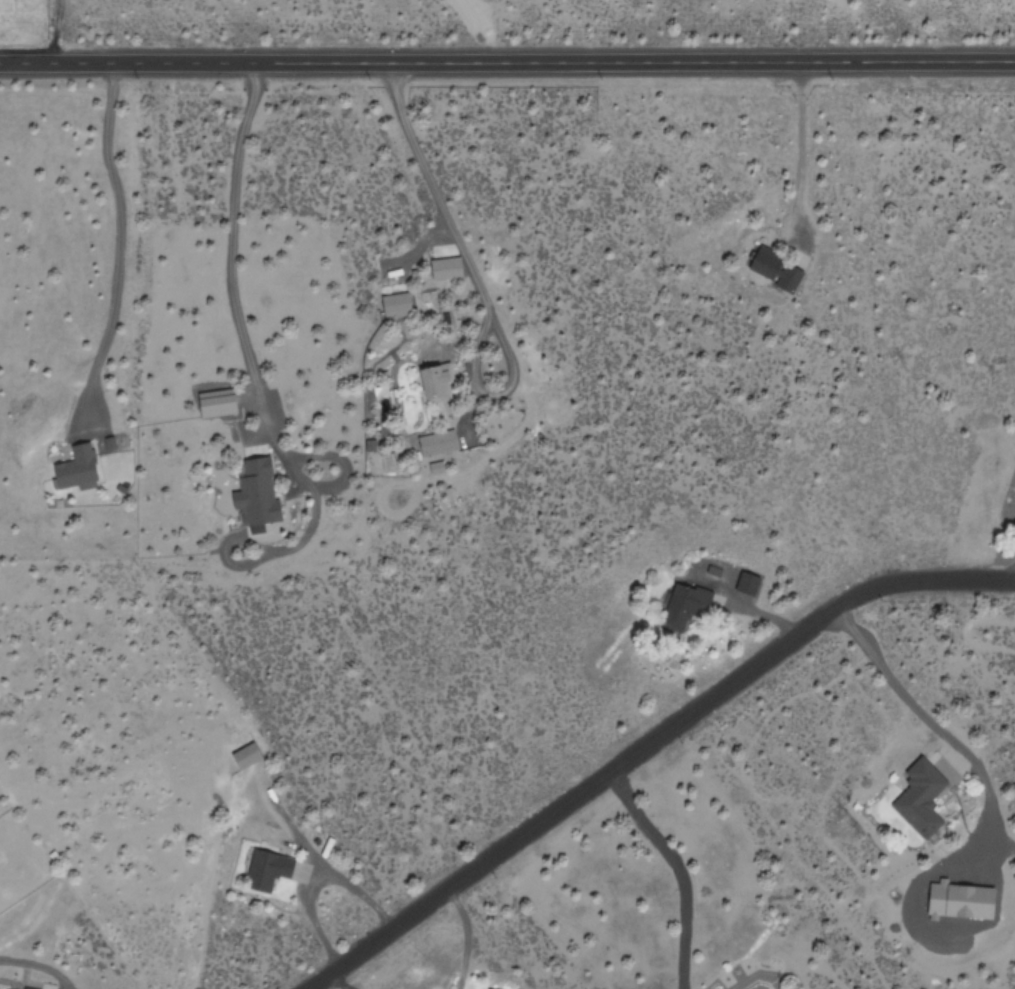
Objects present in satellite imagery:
road: (507, 58)
building: (443, 262)
building: (773, 270)
building: (394, 305)
building: (432, 382)
building: (215, 403)
building: (435, 443)
building: (75, 469)
building: (252, 500)
building: (1014, 529)
building: (748, 583)
building: (685, 605)
road: (641, 742)
building: (244, 757)
building: (918, 802)
building: (265, 869)
building: (961, 900)
building: (758, 987)
building: (488, 988)

